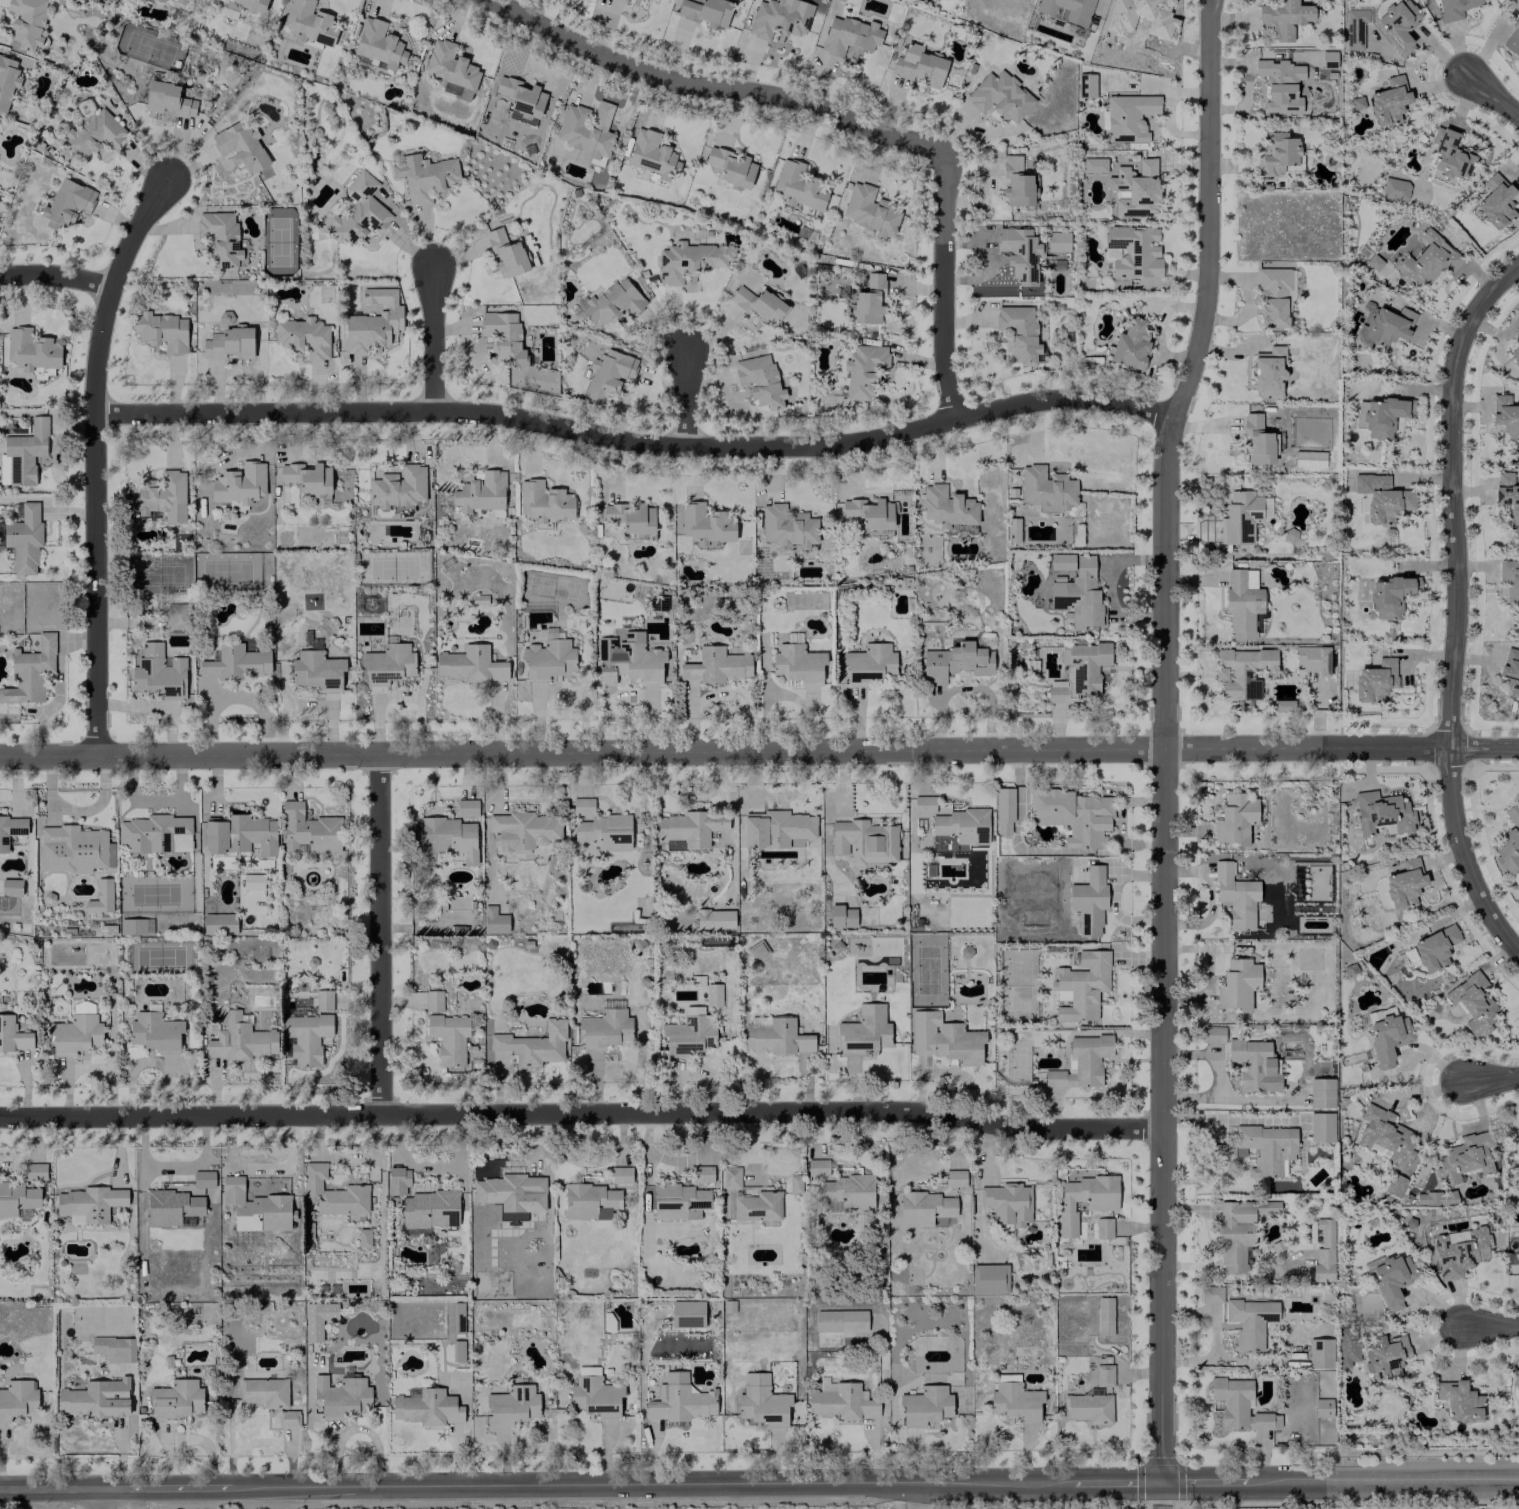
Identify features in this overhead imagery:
building: (160, 0)
building: (624, 0)
building: (843, 0)
building: (182, 1)
building: (249, 5)
building: (1454, 8)
building: (1066, 10)
building: (706, 11)
building: (780, 17)
building: (1282, 18)
building: (27, 22)
building: (309, 23)
building: (1398, 25)
building: (1355, 27)
building: (850, 37)
building: (1513, 37)
building: (378, 43)
building: (1328, 59)
building: (919, 65)
building: (451, 69)
building: (7, 80)
building: (1280, 84)
building: (1085, 85)
road: (712, 87)
road: (1492, 91)
building: (522, 96)
building: (1000, 96)
building: (167, 100)
building: (1384, 101)
building: (1128, 117)
building: (587, 128)
building: (94, 133)
building: (240, 146)
building: (1277, 153)
building: (652, 154)
building: (1447, 157)
building: (1094, 165)
building: (731, 166)
building: (424, 176)
building: (1016, 182)
building: (799, 186)
building: (1135, 189)
building: (1395, 189)
building: (1495, 201)
building: (66, 203)
building: (359, 210)
building: (869, 210)
building: (219, 239)
building: (1058, 241)
building: (1132, 251)
building: (1019, 253)
building: (690, 260)
building: (1427, 260)
building: (1374, 262)
road: (58, 278)
road: (947, 289)
building: (1274, 295)
building: (869, 300)
building: (610, 303)
building: (758, 305)
building: (1517, 314)
building: (373, 322)
building: (1383, 326)
building: (162, 331)
road: (439, 332)
building: (1018, 333)
building: (304, 337)
building: (503, 337)
building: (229, 343)
building: (1130, 344)
building: (31, 349)
building: (1515, 352)
building: (863, 369)
building: (1268, 372)
building: (608, 374)
road: (1189, 374)
building: (760, 380)
road: (689, 396)
building: (1505, 415)
road: (636, 440)
building: (1259, 440)
building: (23, 453)
road: (98, 455)
building: (1309, 458)
building: (308, 478)
building: (240, 483)
building: (1046, 487)
building: (398, 488)
building: (481, 492)
building: (160, 496)
building: (1507, 496)
building: (1382, 497)
building: (543, 501)
building: (947, 506)
building: (870, 516)
building: (1243, 517)
building: (631, 518)
building: (706, 524)
building: (787, 526)
building: (1013, 530)
building: (24, 538)
building: (1510, 580)
building: (901, 583)
road: (1105, 587)
building: (1076, 590)
building: (1389, 596)
building: (1242, 602)
road: (1454, 606)
building: (178, 615)
building: (549, 633)
building: (548, 659)
building: (628, 660)
building: (1313, 660)
building: (955, 662)
building: (236, 663)
building: (388, 664)
building: (470, 664)
building: (798, 664)
building: (866, 664)
building: (715, 666)
building: (316, 668)
building: (30, 671)
building: (1079, 671)
building: (1511, 671)
building: (1241, 672)
building: (158, 673)
building: (1375, 680)
road: (964, 687)
road: (156, 707)
road: (1343, 747)
road: (583, 749)
building: (924, 804)
building: (466, 808)
building: (1004, 810)
building: (1382, 813)
building: (1072, 815)
building: (1235, 818)
building: (600, 827)
building: (691, 827)
building: (776, 828)
building: (11, 830)
building: (308, 830)
building: (522, 831)
building: (156, 833)
building: (239, 834)
building: (446, 838)
building: (864, 841)
building: (1509, 841)
building: (74, 849)
building: (1404, 884)
building: (11, 886)
building: (1235, 896)
building: (101, 897)
building: (1089, 901)
building: (841, 916)
building: (714, 918)
building: (494, 920)
building: (219, 924)
building: (135, 926)
road: (383, 930)
building: (1434, 948)
building: (757, 950)
building: (1350, 969)
road: (1208, 973)
building: (1238, 984)
building: (1081, 985)
building: (1003, 993)
building: (323, 1000)
building: (433, 1000)
building: (1473, 1003)
building: (1004, 1011)
building: (693, 1026)
building: (604, 1029)
building: (76, 1031)
building: (155, 1031)
building: (862, 1034)
building: (1213, 1034)
building: (1386, 1034)
building: (13, 1035)
building: (775, 1036)
building: (306, 1037)
building: (448, 1037)
building: (944, 1038)
building: (240, 1039)
building: (534, 1044)
building: (1081, 1062)
building: (1254, 1064)
road: (1491, 1075)
building: (1321, 1093)
road: (583, 1109)
road: (1166, 1116)
building: (1321, 1127)
building: (1385, 1135)
building: (1518, 1143)
building: (1262, 1149)
building: (1464, 1158)
building: (817, 1167)
building: (35, 1171)
building: (703, 1173)
building: (621, 1174)
building: (731, 1177)
building: (955, 1178)
building: (794, 1183)
building: (1394, 1185)
building: (507, 1190)
building: (847, 1191)
building: (333, 1192)
building: (1085, 1196)
building: (16, 1198)
building: (1435, 1198)
building: (590, 1201)
building: (678, 1201)
building: (423, 1203)
building: (1007, 1203)
building: (89, 1204)
building: (757, 1206)
building: (254, 1207)
building: (924, 1208)
building: (1103, 1228)
building: (1239, 1230)
building: (363, 1237)
building: (1324, 1249)
building: (1459, 1251)
building: (1517, 1274)
building: (989, 1279)
building: (1391, 1279)
building: (1211, 1294)
building: (687, 1313)
building: (1104, 1316)
building: (455, 1317)
building: (317, 1319)
building: (840, 1321)
building: (1250, 1321)
road: (1489, 1325)
road: (1214, 1337)
building: (1347, 1347)
building: (114, 1348)
building: (457, 1350)
building: (1320, 1353)
building: (1385, 1356)
building: (1104, 1375)
building: (1515, 1377)
building: (264, 1392)
building: (595, 1393)
building: (341, 1396)
building: (17, 1399)
building: (95, 1399)
building: (176, 1399)
building: (679, 1400)
building: (1014, 1400)
building: (762, 1401)
building: (840, 1401)
building: (1459, 1401)
building: (512, 1405)
building: (925, 1405)
building: (1240, 1405)
building: (427, 1407)
building: (1088, 1407)
building: (1323, 1407)
building: (288, 1418)
road: (1387, 1482)
road: (646, 1483)
road: (1110, 1484)
road: (1207, 1484)
road: (165, 1487)
road: (49, 1488)
road: (922, 1495)
road: (1160, 1497)
road: (98, 1498)

